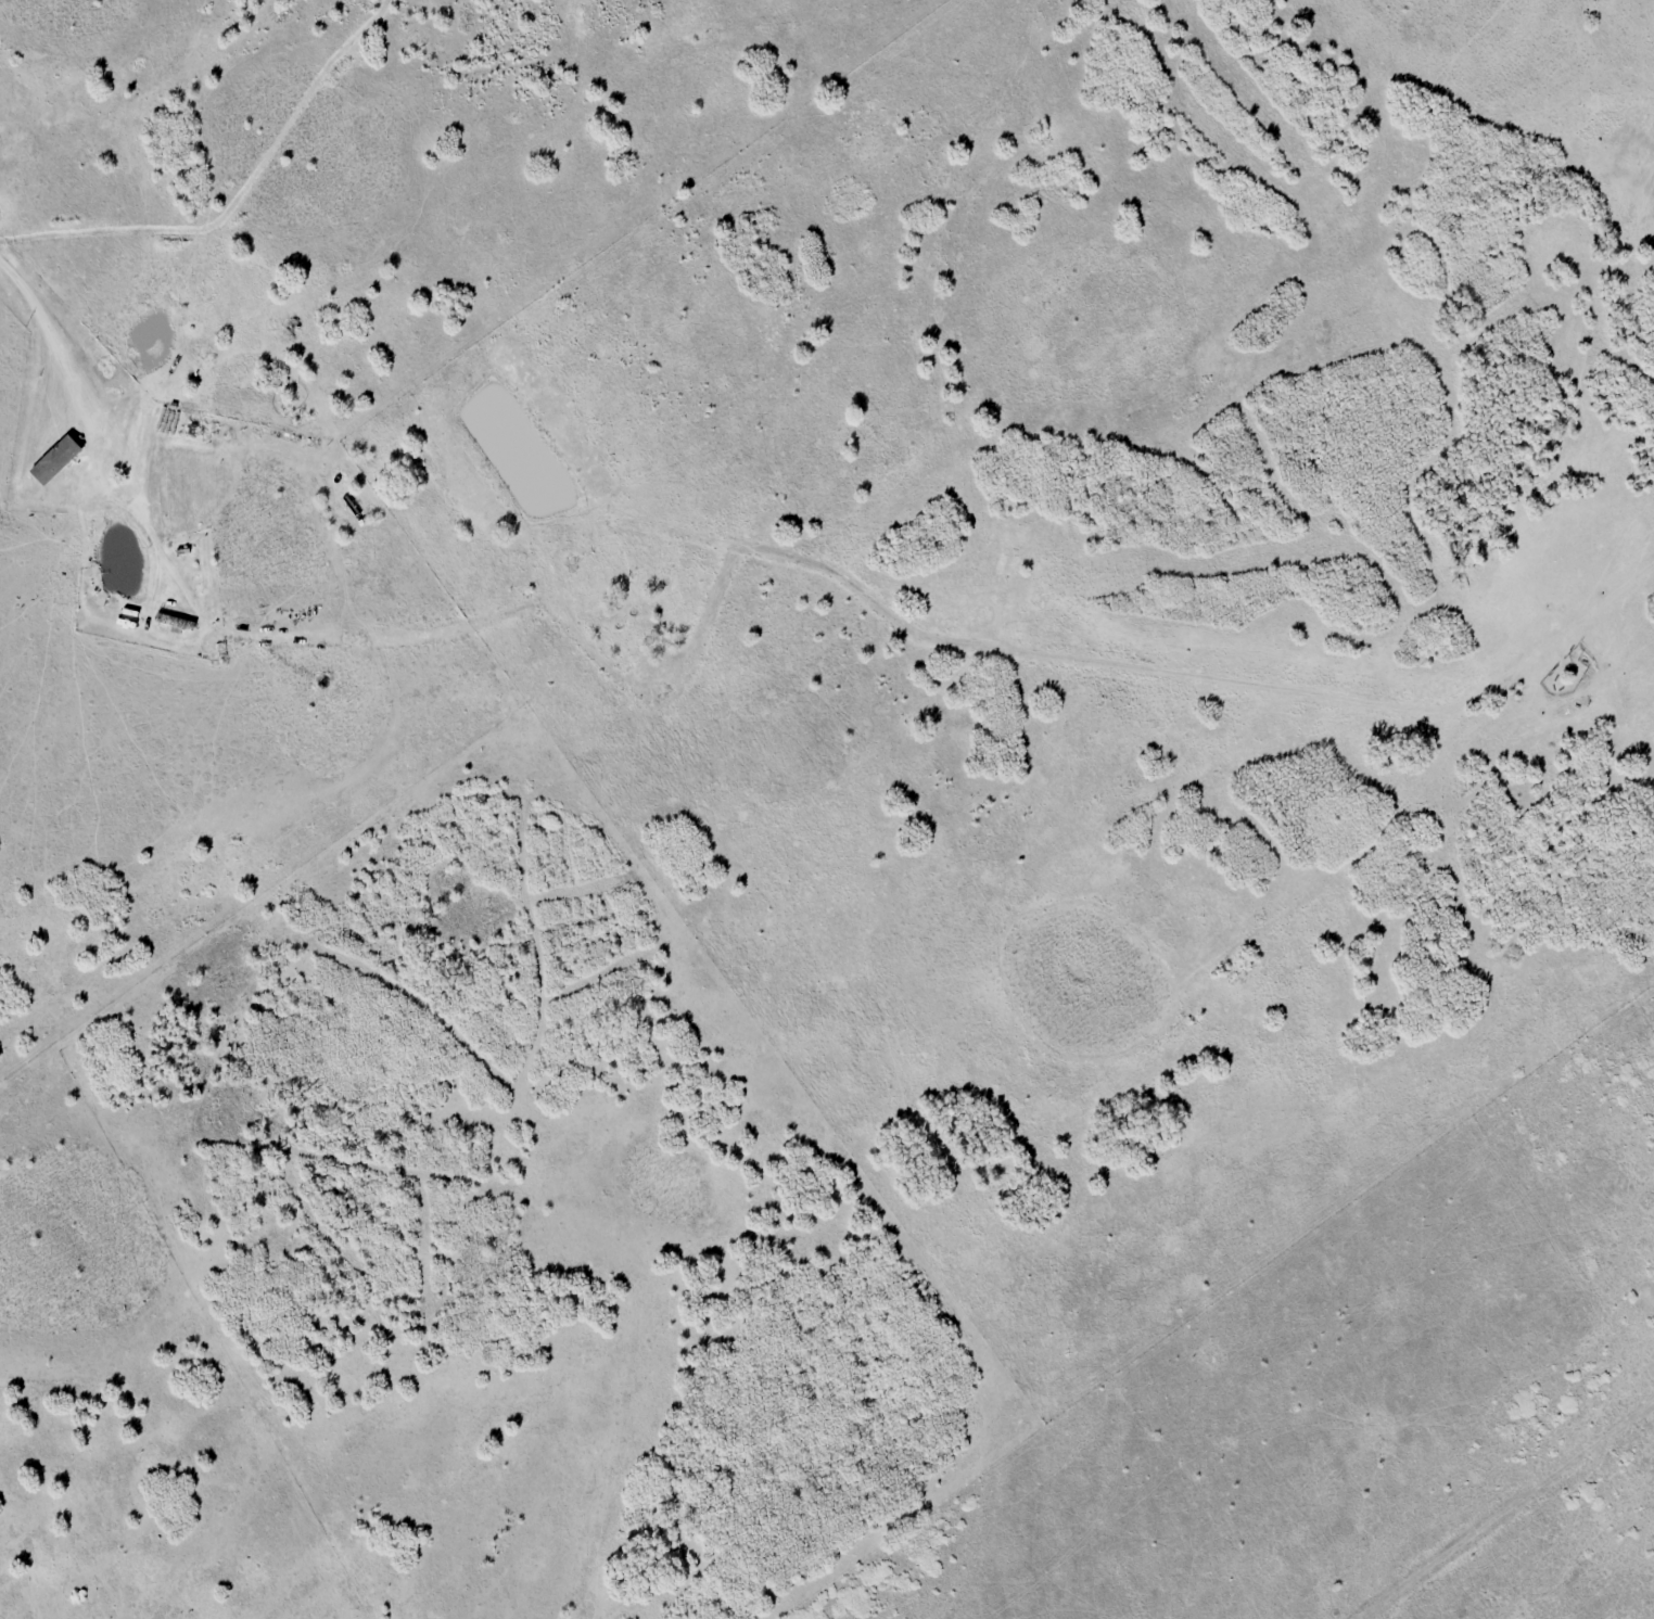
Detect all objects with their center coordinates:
building: (58, 461)

